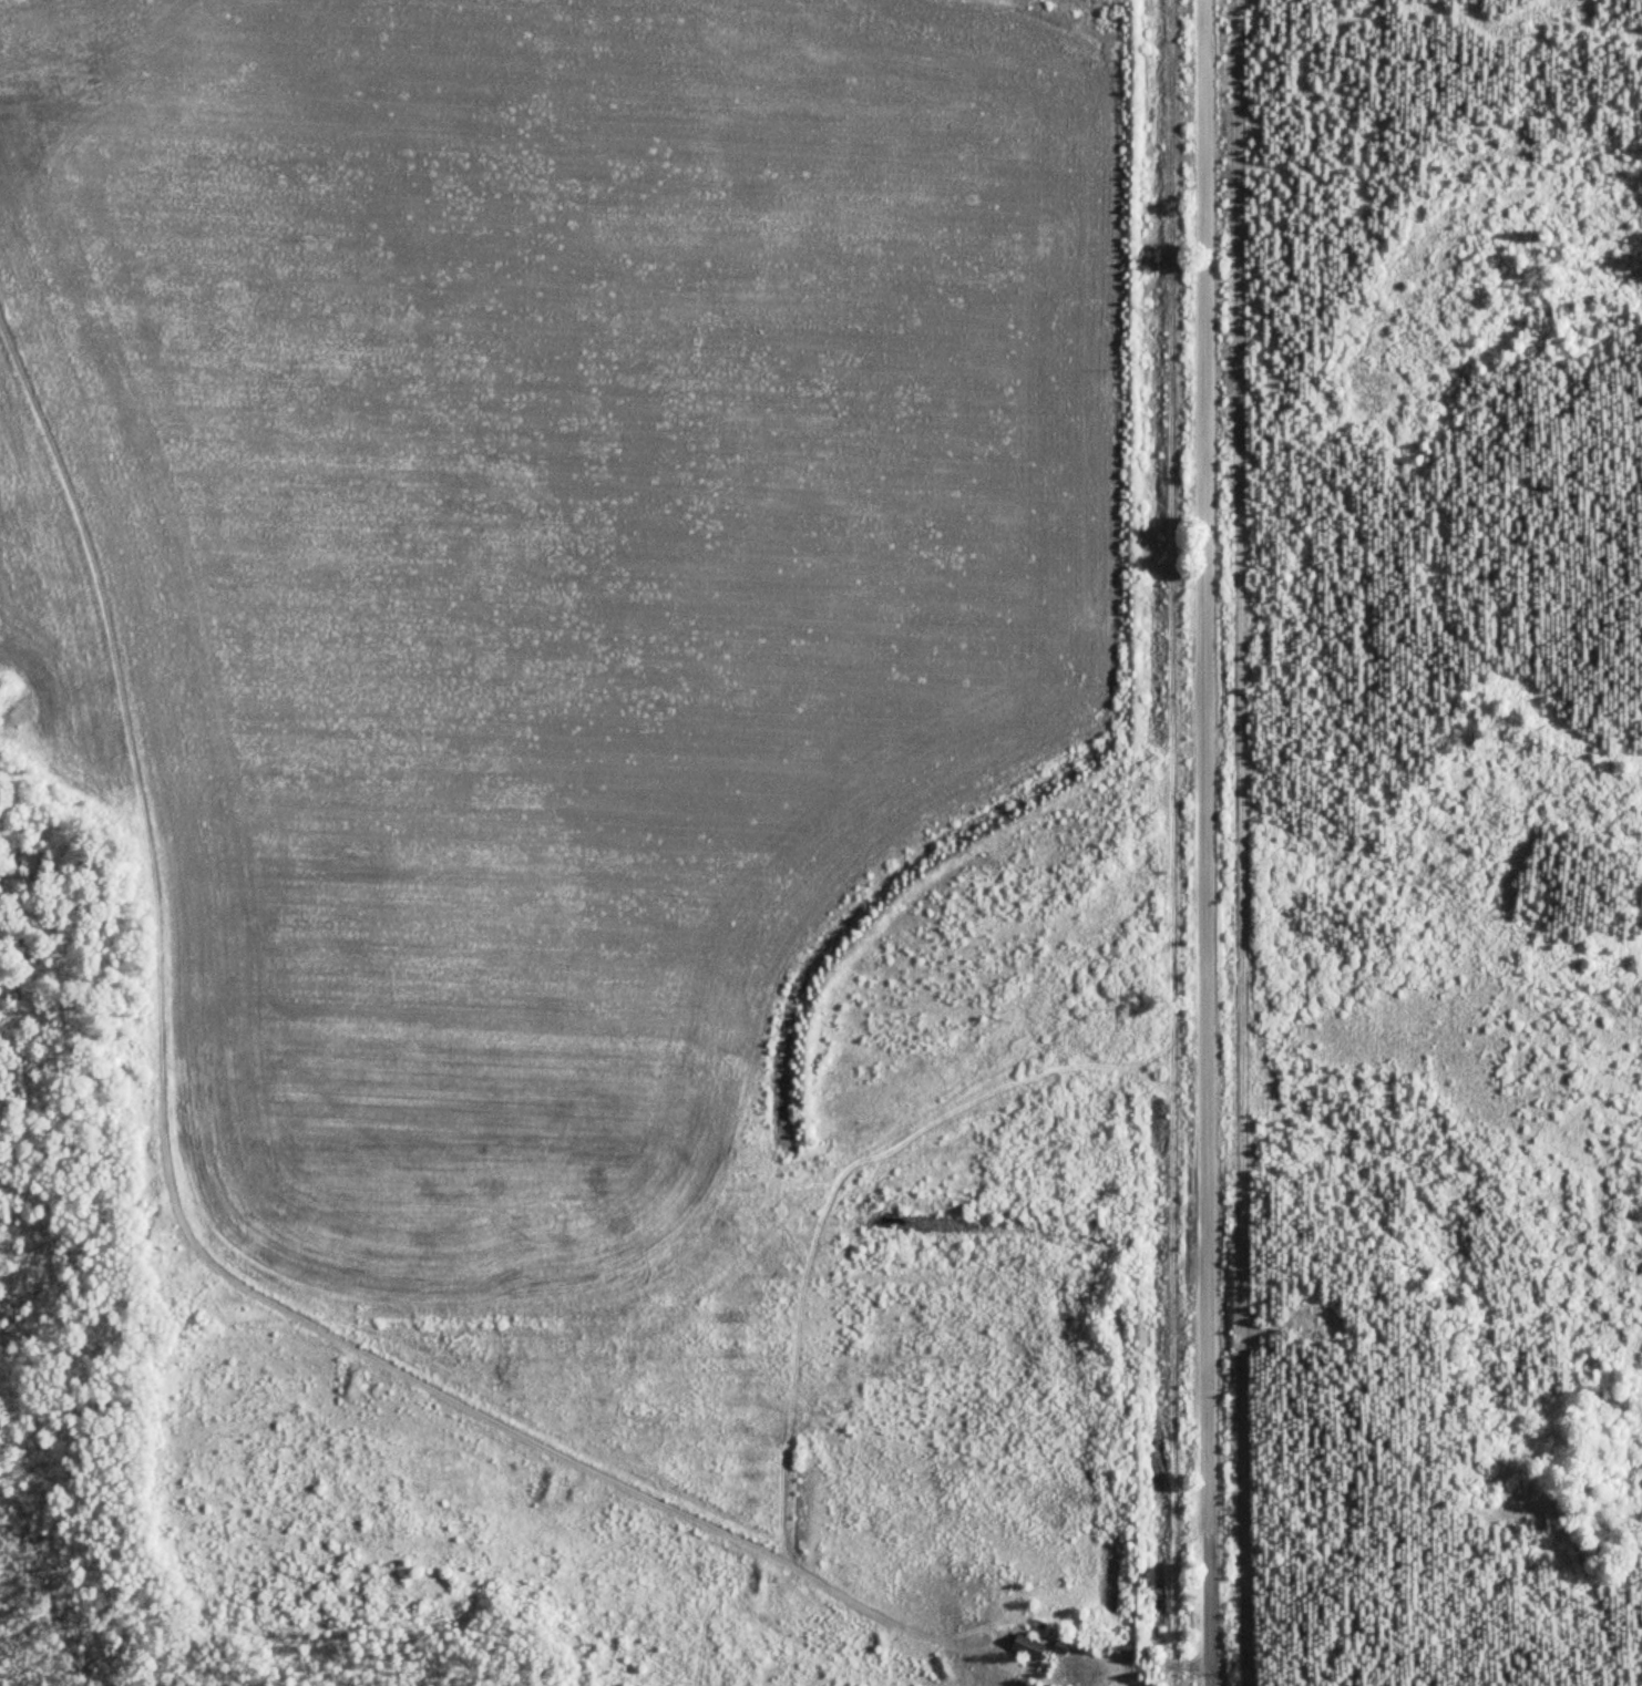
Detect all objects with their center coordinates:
road: (653, 751)
road: (1210, 763)
road: (1182, 812)
airport: (616, 819)
road: (767, 1224)
road: (196, 1240)
road: (1209, 1607)
building: (1025, 1641)
road: (1133, 1663)

